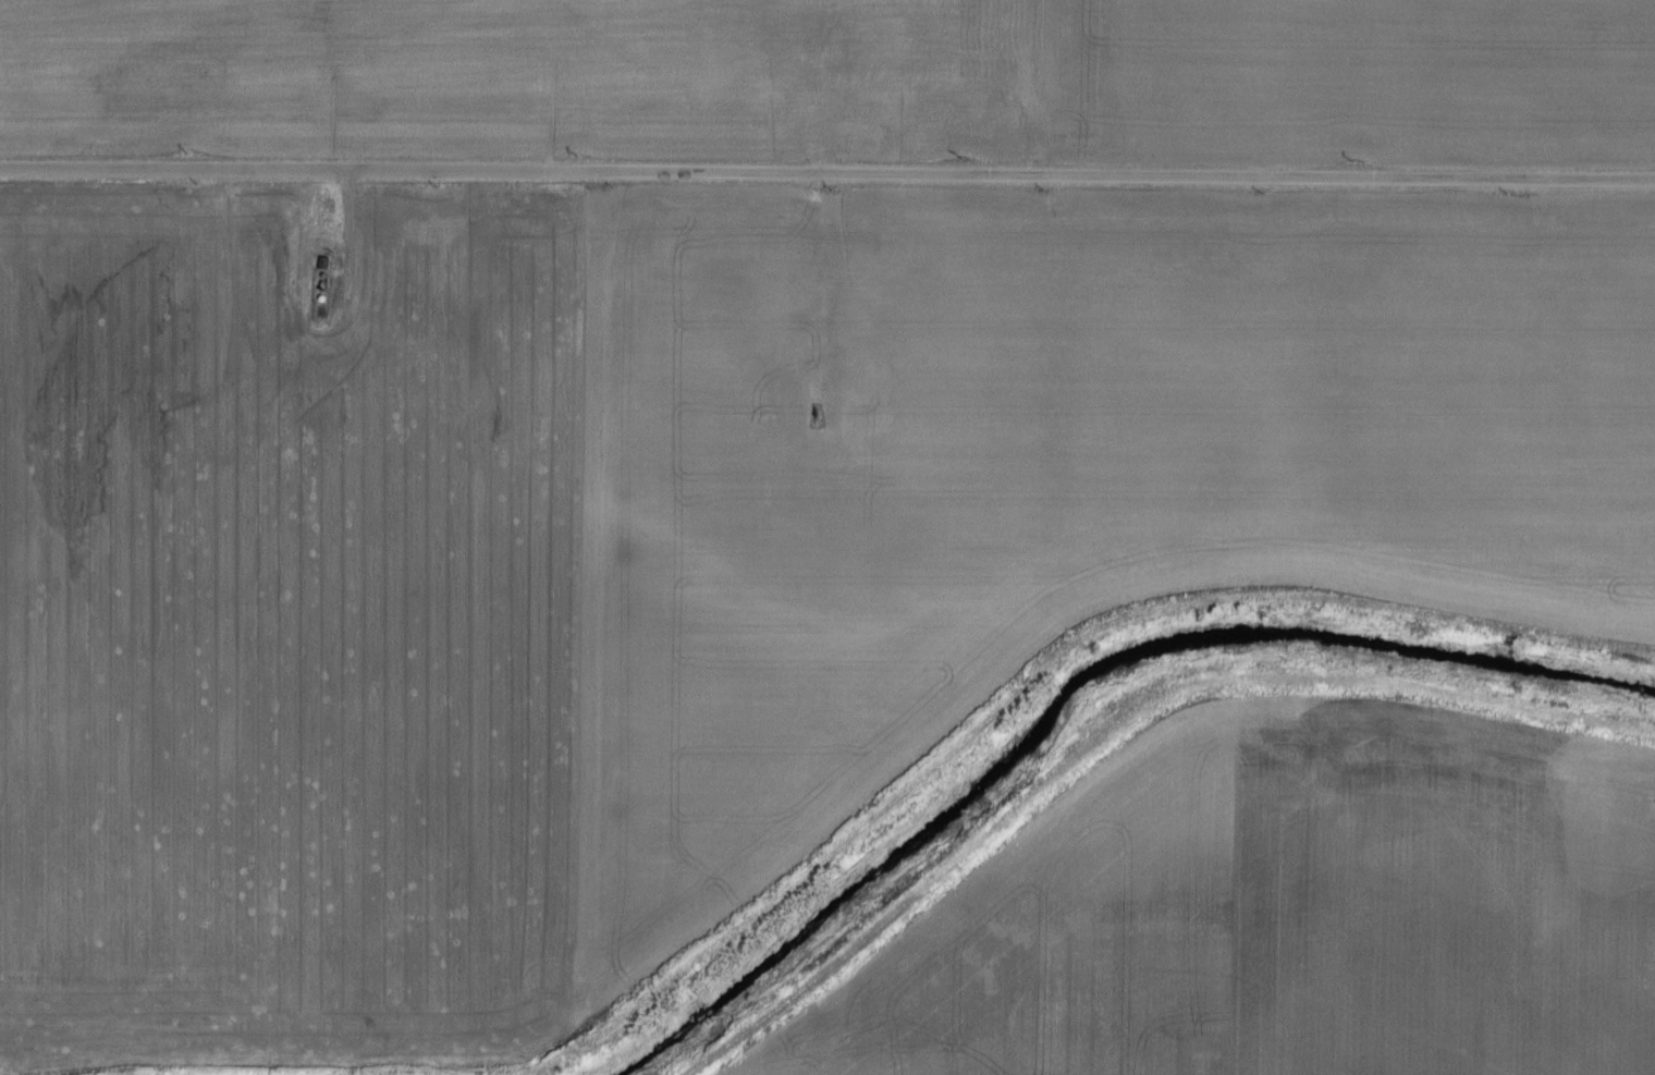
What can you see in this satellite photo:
road: (343, 84)
road: (828, 171)
road: (351, 236)
building: (328, 262)
road: (818, 282)
petroleum well: (818, 412)
river: (1077, 691)

